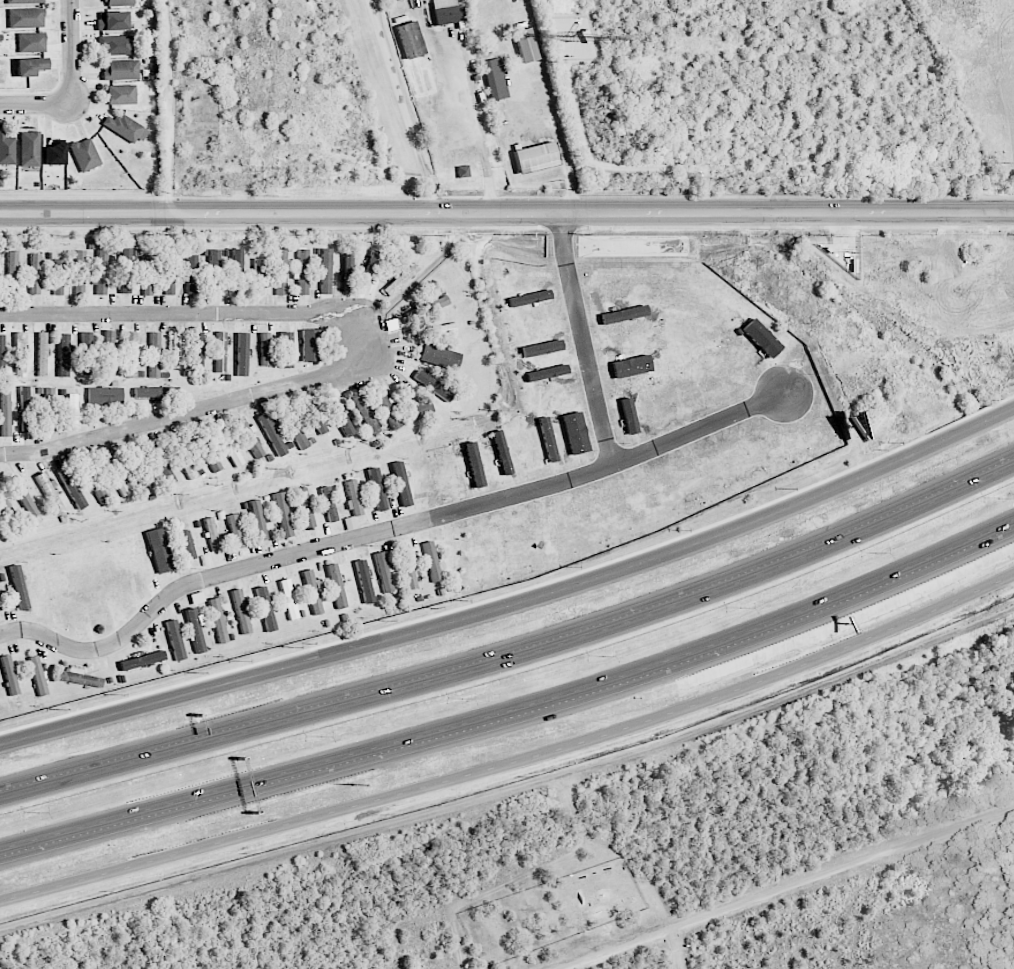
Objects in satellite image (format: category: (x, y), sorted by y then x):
building: (24, 1)
building: (118, 2)
building: (446, 11)
building: (26, 18)
building: (112, 21)
building: (410, 40)
building: (31, 42)
building: (114, 45)
building: (525, 45)
road: (73, 52)
building: (30, 66)
building: (120, 70)
building: (494, 79)
building: (121, 95)
road: (37, 105)
road: (403, 106)
road: (169, 107)
road: (474, 122)
building: (125, 128)
building: (30, 149)
building: (7, 150)
building: (54, 154)
building: (85, 154)
building: (536, 156)
road: (507, 214)
building: (192, 270)
building: (236, 270)
building: (124, 271)
building: (213, 271)
building: (325, 271)
building: (146, 272)
building: (281, 272)
building: (303, 272)
building: (347, 272)
building: (79, 273)
building: (100, 273)
building: (12, 274)
building: (35, 274)
building: (168, 276)
building: (258, 276)
building: (58, 277)
building: (400, 279)
building: (426, 308)
road: (203, 313)
building: (436, 330)
road: (582, 341)
building: (310, 345)
building: (176, 348)
building: (540, 348)
building: (265, 349)
building: (198, 350)
building: (285, 350)
building: (109, 352)
building: (221, 352)
building: (86, 353)
building: (131, 353)
building: (2, 354)
building: (42, 354)
building: (242, 354)
building: (20, 355)
building: (64, 355)
building: (155, 355)
building: (439, 357)
building: (545, 373)
building: (432, 385)
building: (156, 392)
building: (105, 395)
building: (386, 408)
building: (418, 408)
building: (47, 410)
building: (71, 412)
building: (364, 412)
building: (5, 414)
road: (184, 414)
building: (341, 418)
building: (317, 419)
building: (574, 433)
building: (271, 435)
building: (249, 438)
building: (547, 439)
building: (228, 445)
building: (206, 450)
building: (501, 453)
building: (182, 458)
building: (161, 464)
building: (473, 464)
building: (135, 467)
building: (447, 467)
road: (613, 468)
building: (115, 475)
building: (425, 477)
building: (94, 482)
building: (401, 483)
building: (72, 488)
building: (377, 489)
building: (51, 495)
building: (23, 496)
building: (353, 499)
building: (329, 504)
building: (4, 505)
building: (305, 508)
building: (283, 515)
building: (258, 520)
building: (350, 523)
building: (558, 531)
building: (233, 532)
building: (211, 534)
building: (506, 544)
building: (159, 551)
building: (481, 551)
building: (456, 559)
building: (432, 561)
building: (408, 568)
building: (384, 572)
road: (206, 577)
building: (364, 581)
building: (336, 586)
building: (19, 587)
building: (313, 591)
building: (289, 599)
road: (516, 604)
building: (0, 606)
building: (265, 609)
building: (241, 611)
building: (217, 620)
building: (195, 630)
building: (175, 640)
road: (515, 657)
building: (142, 660)
building: (9, 675)
building: (38, 676)
building: (79, 678)
road: (515, 709)
road: (515, 762)
road: (514, 793)
road: (790, 889)

